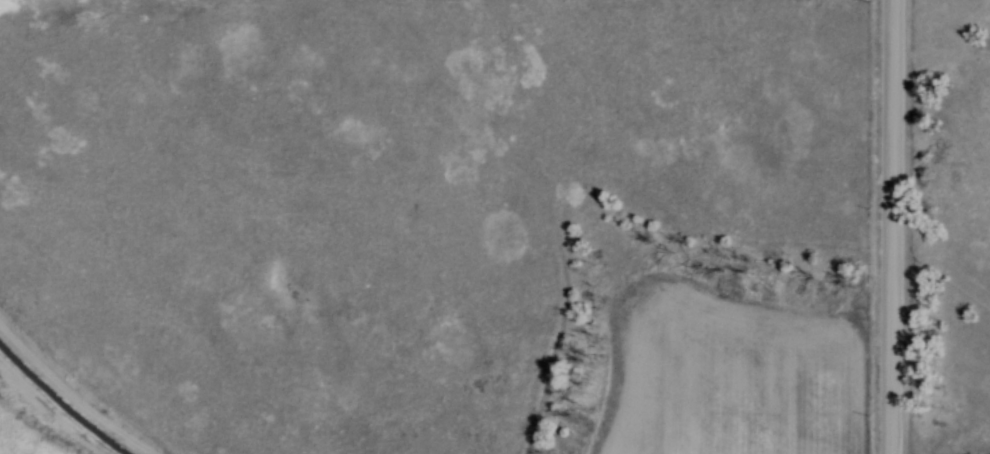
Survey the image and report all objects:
road: (881, 227)
crop: (720, 379)

